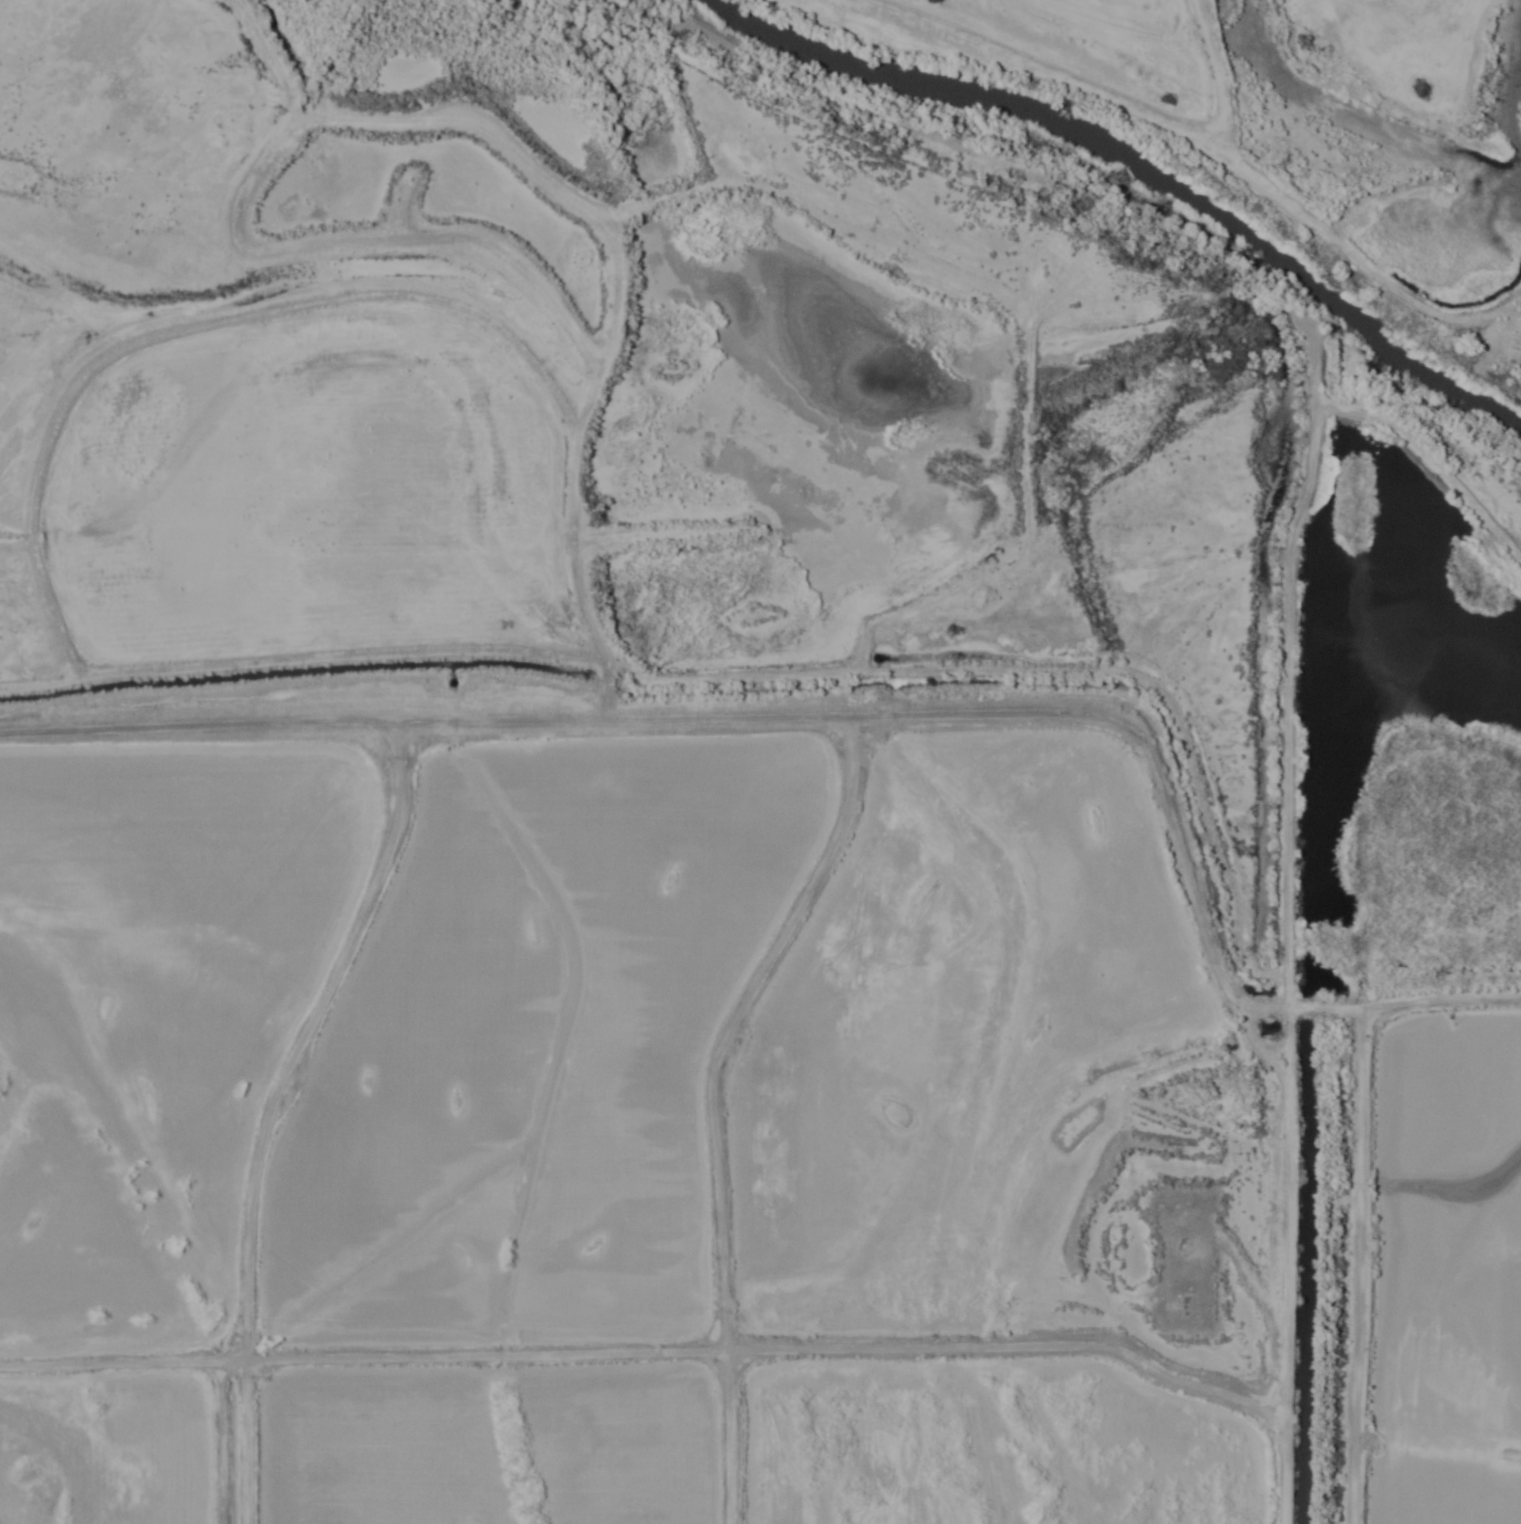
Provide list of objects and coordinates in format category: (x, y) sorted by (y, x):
river: (1170, 165)
road: (1308, 974)

